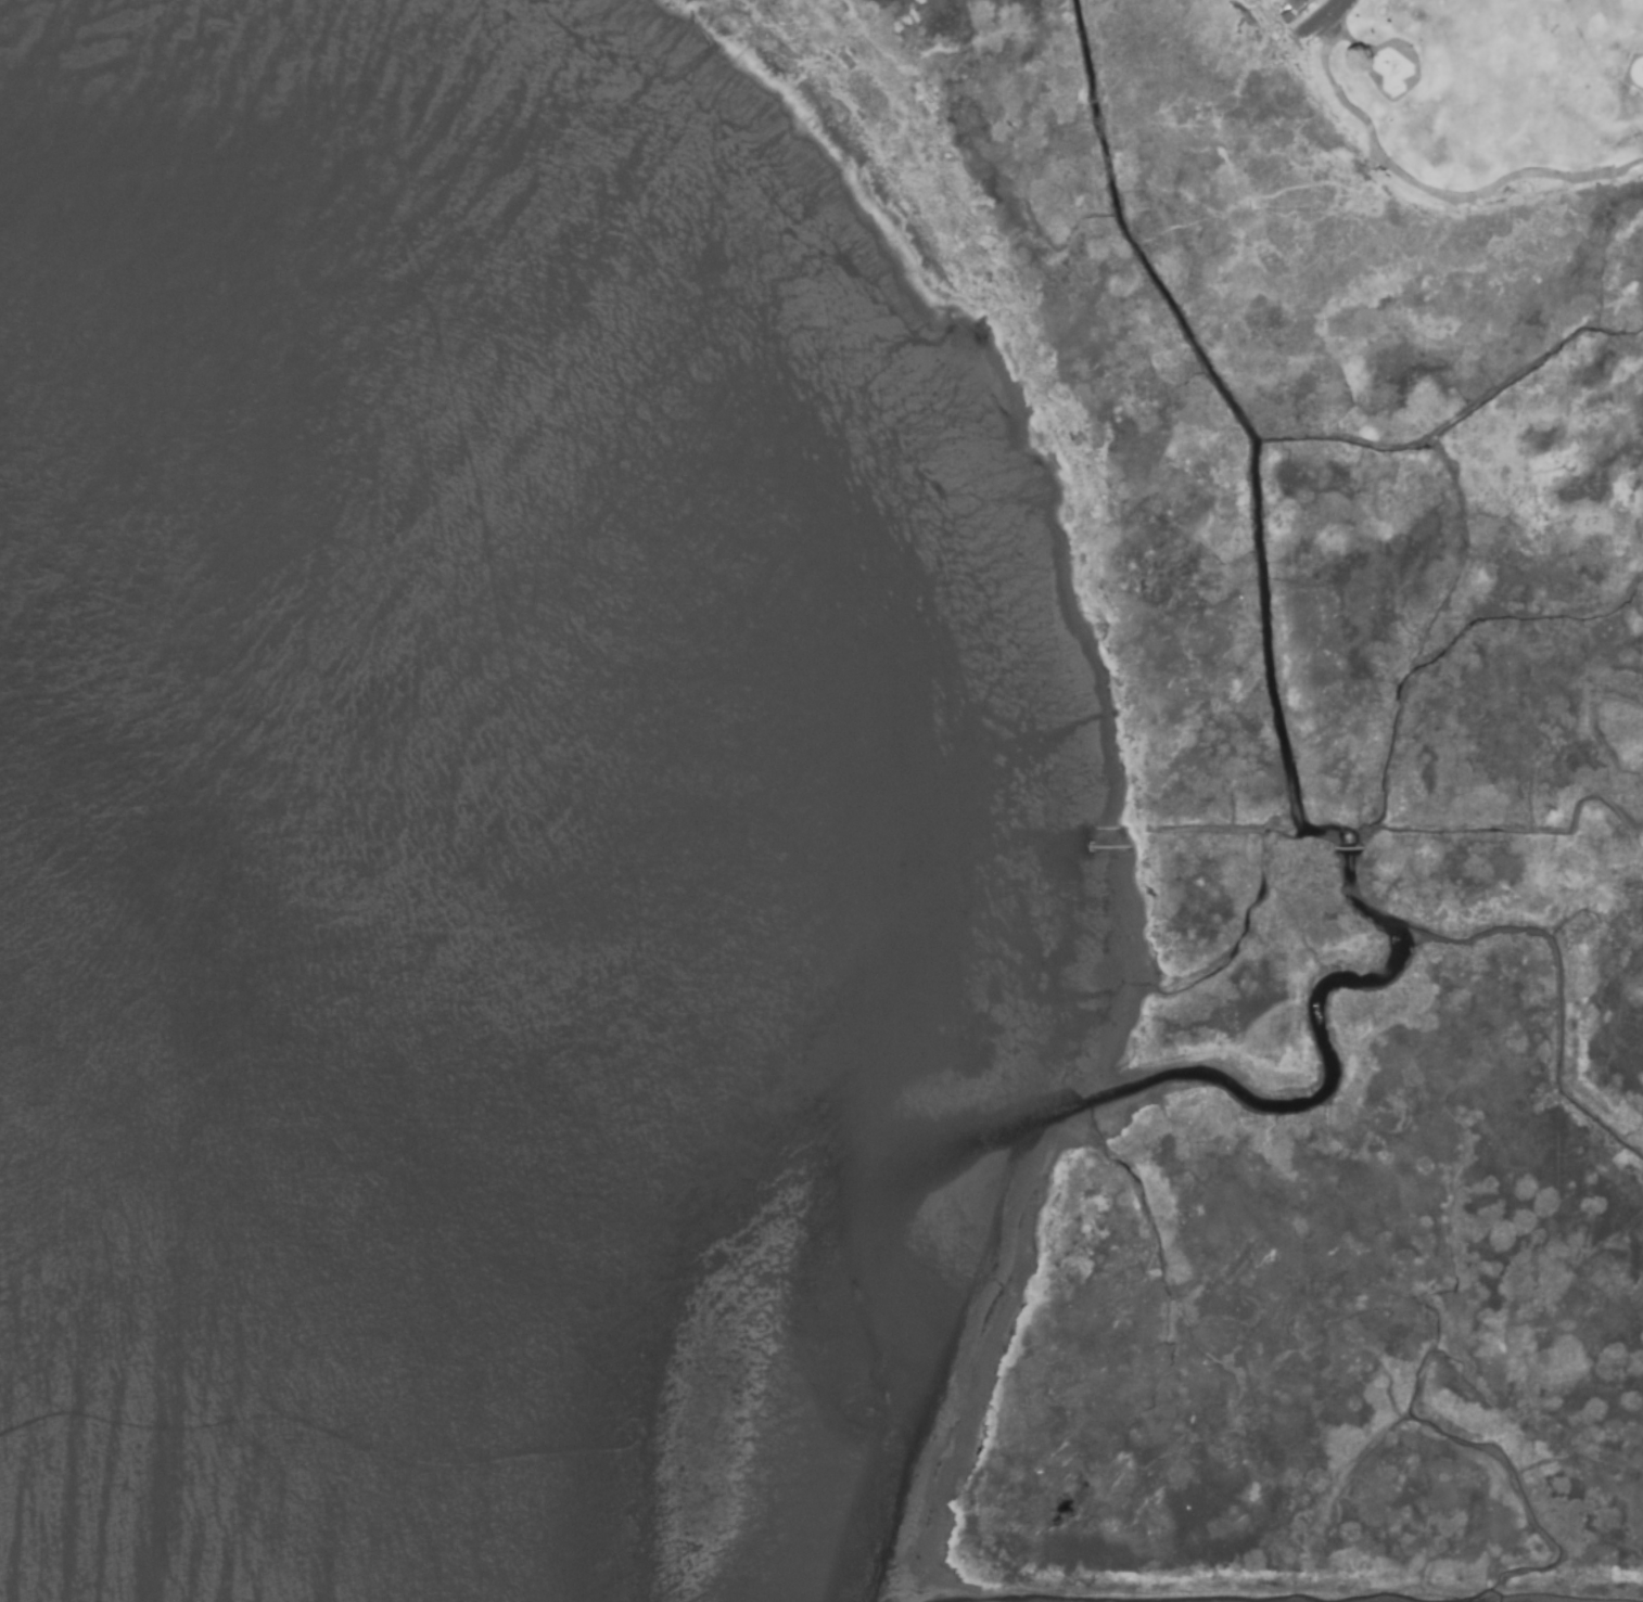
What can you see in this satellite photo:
building: (1295, 3)
road: (1328, 20)
park: (1492, 93)

